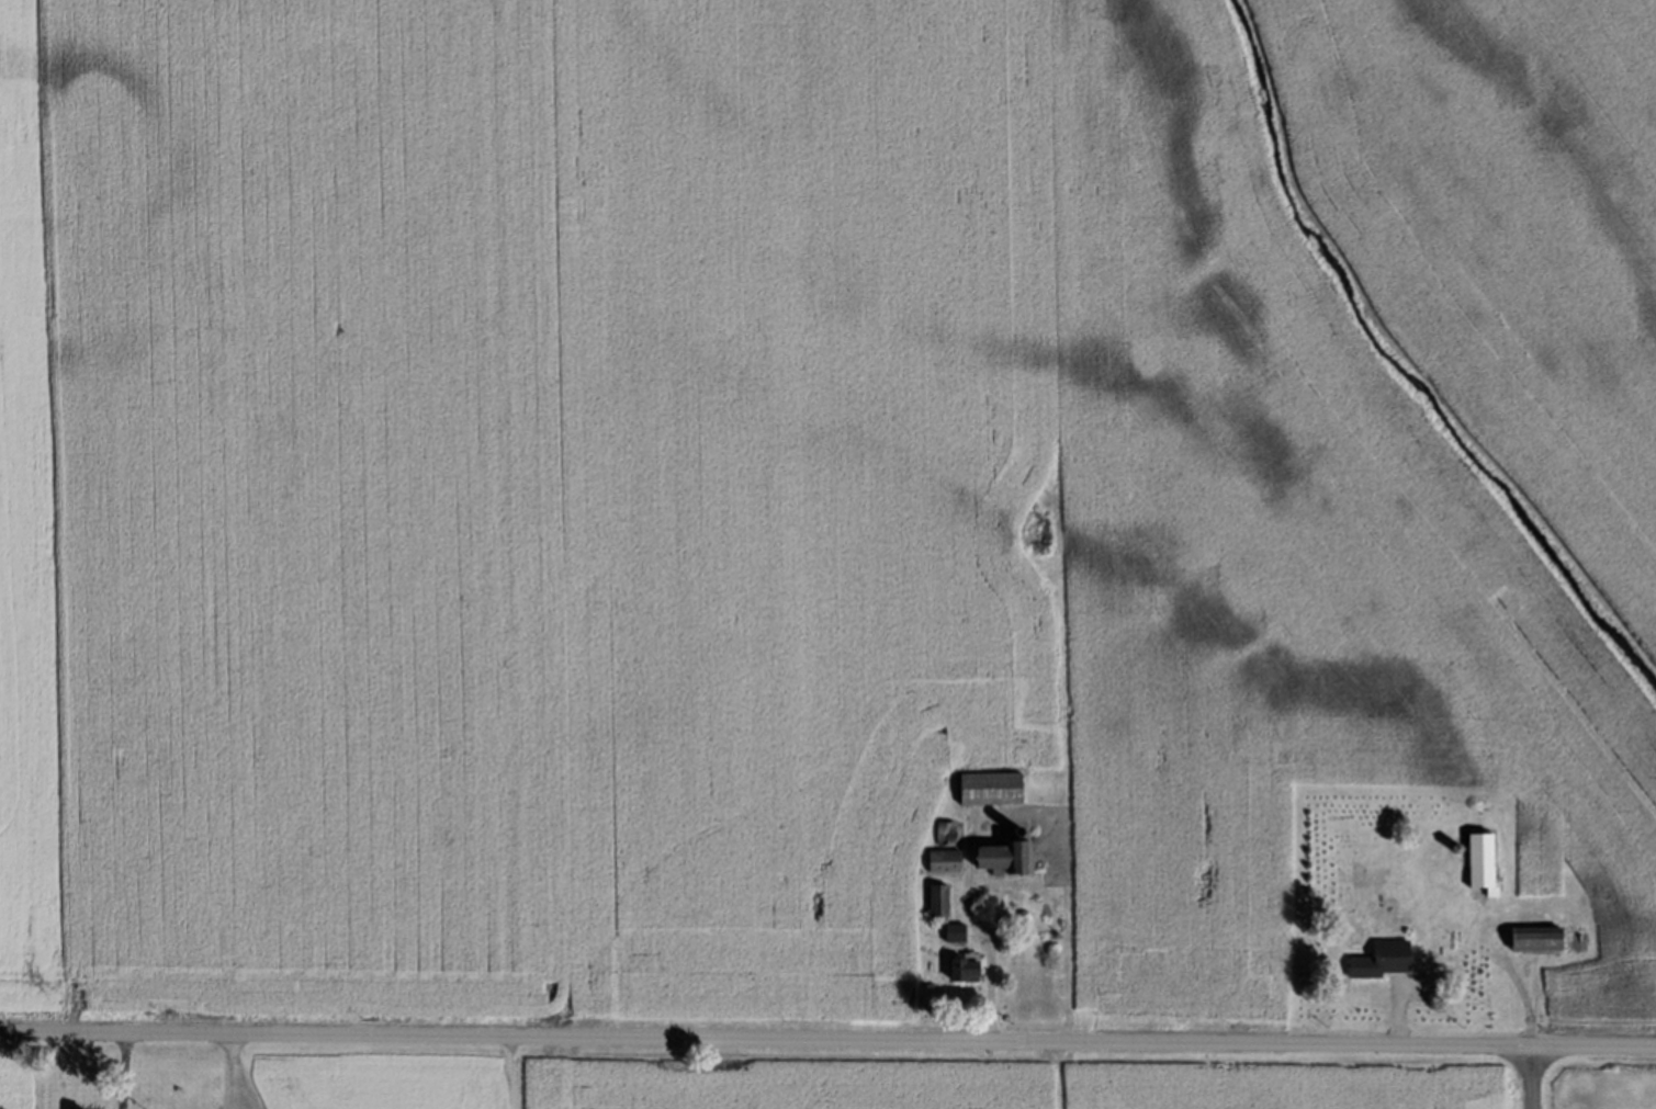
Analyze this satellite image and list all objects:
building: (988, 794)
building: (944, 836)
building: (998, 859)
building: (1477, 861)
building: (940, 863)
building: (934, 902)
building: (953, 935)
building: (1530, 940)
building: (1381, 961)
building: (959, 969)
road: (827, 1051)
road: (124, 1076)
road: (234, 1077)
road: (1529, 1084)

